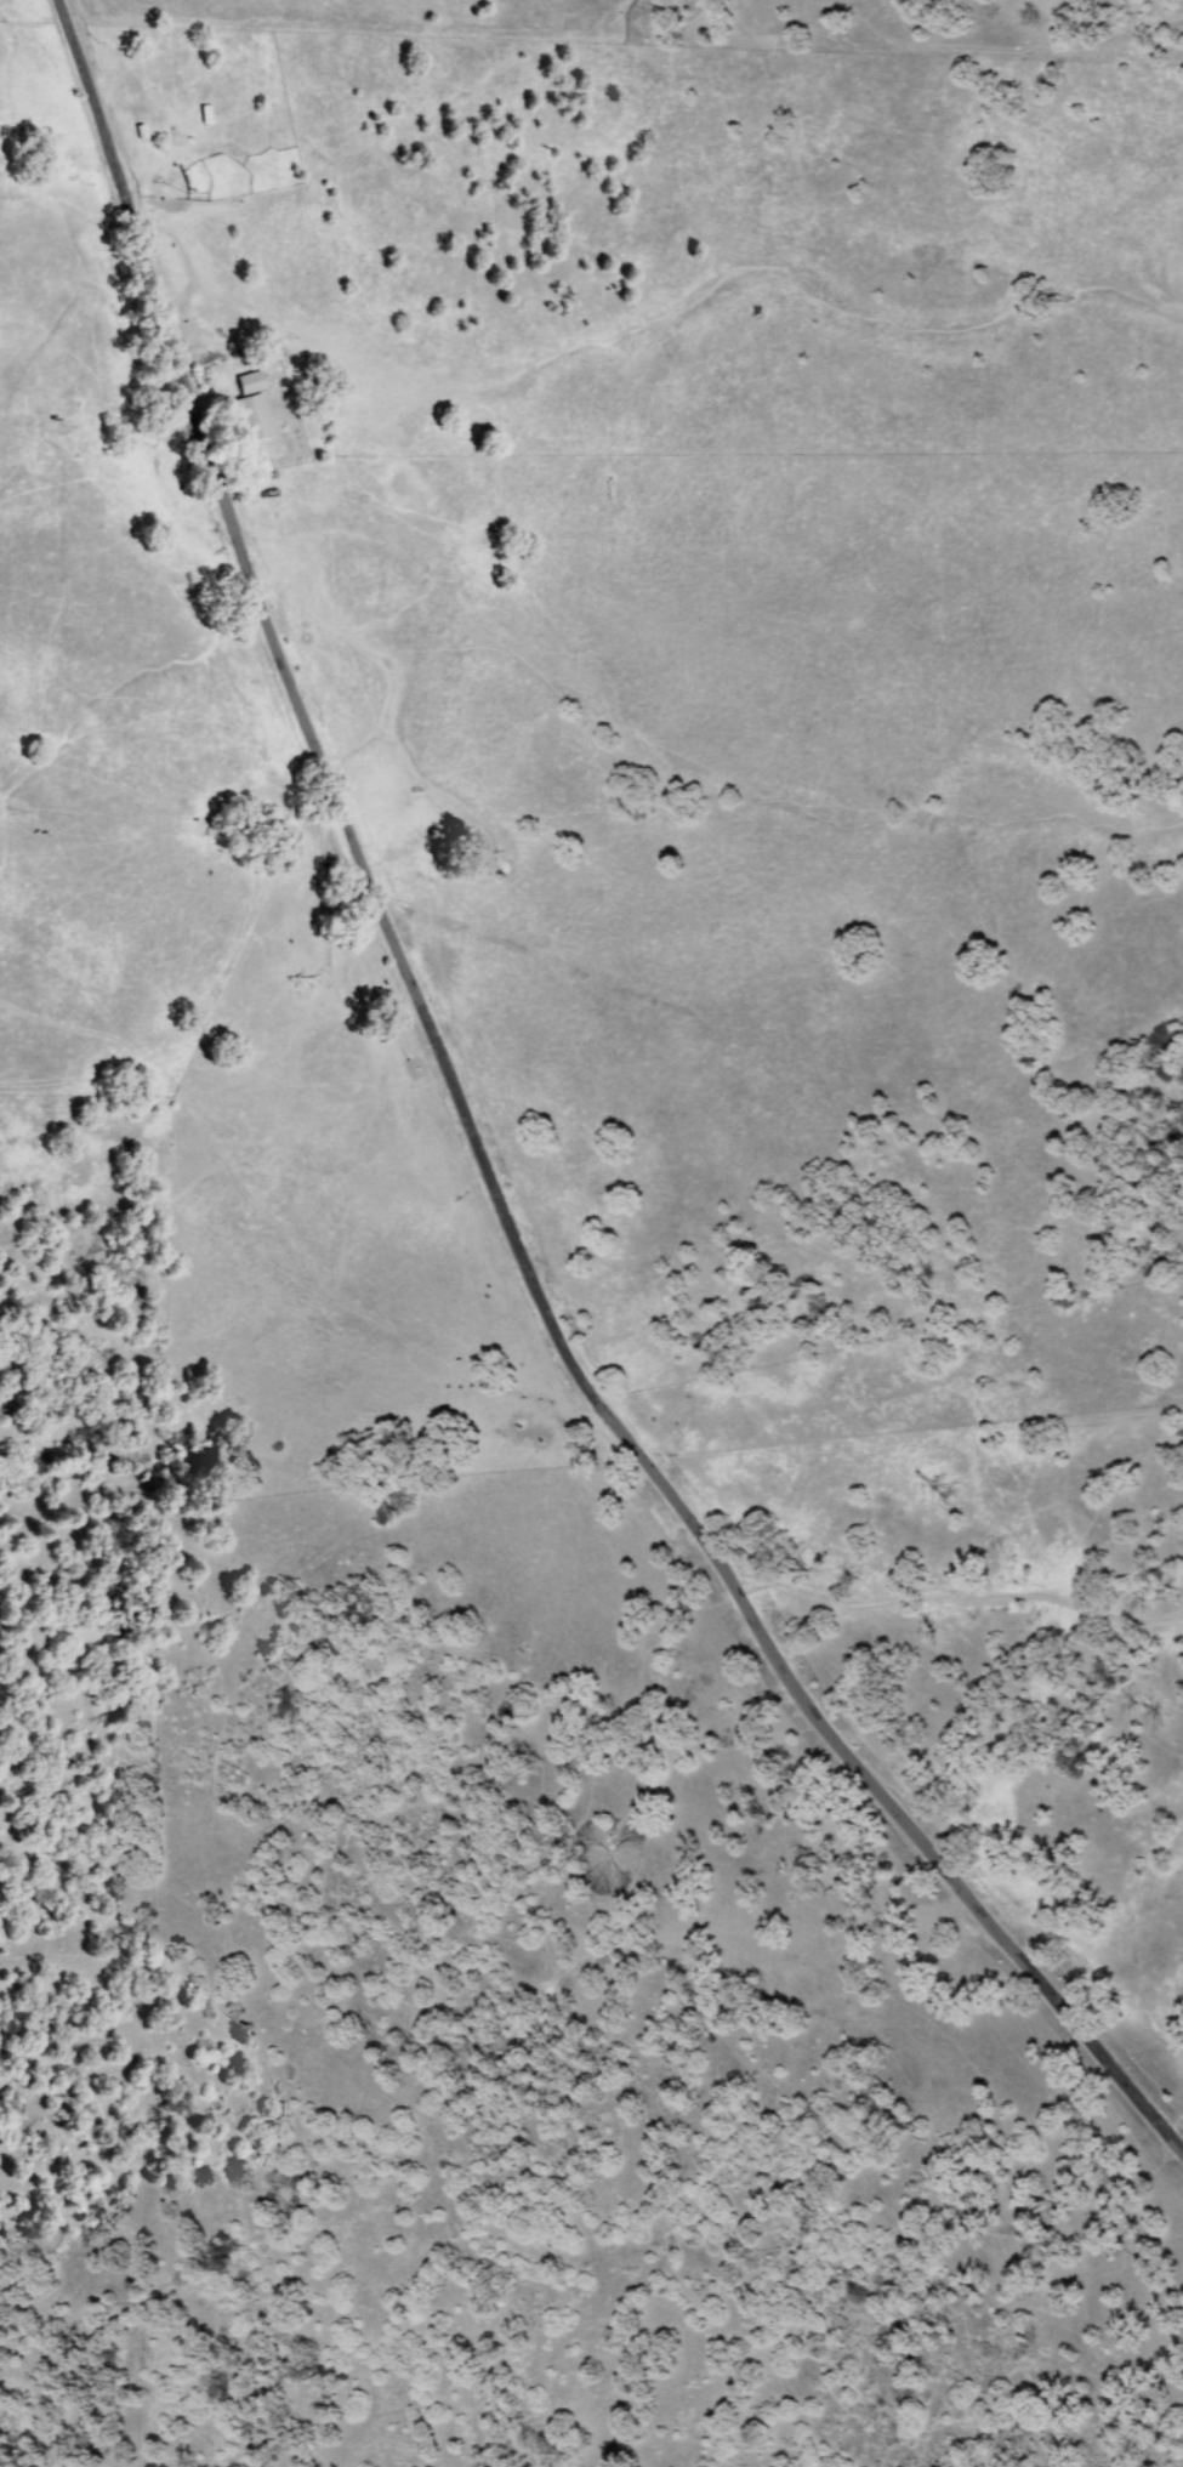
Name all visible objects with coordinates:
building: (252, 382)
building: (254, 417)
road: (476, 1156)
road: (257, 1267)
road: (897, 1394)
road: (132, 1647)
building: (556, 2415)

